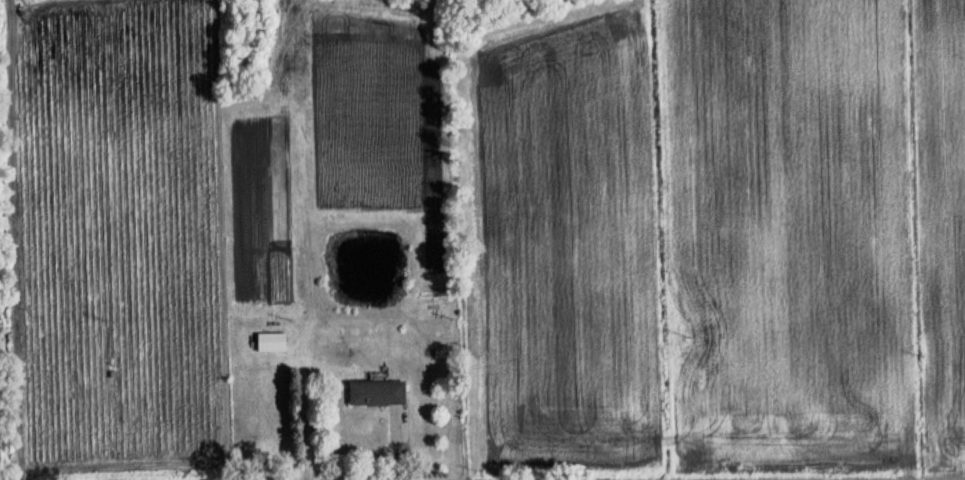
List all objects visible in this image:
crop: (494, 227)
road: (16, 239)
building: (270, 342)
building: (375, 393)

